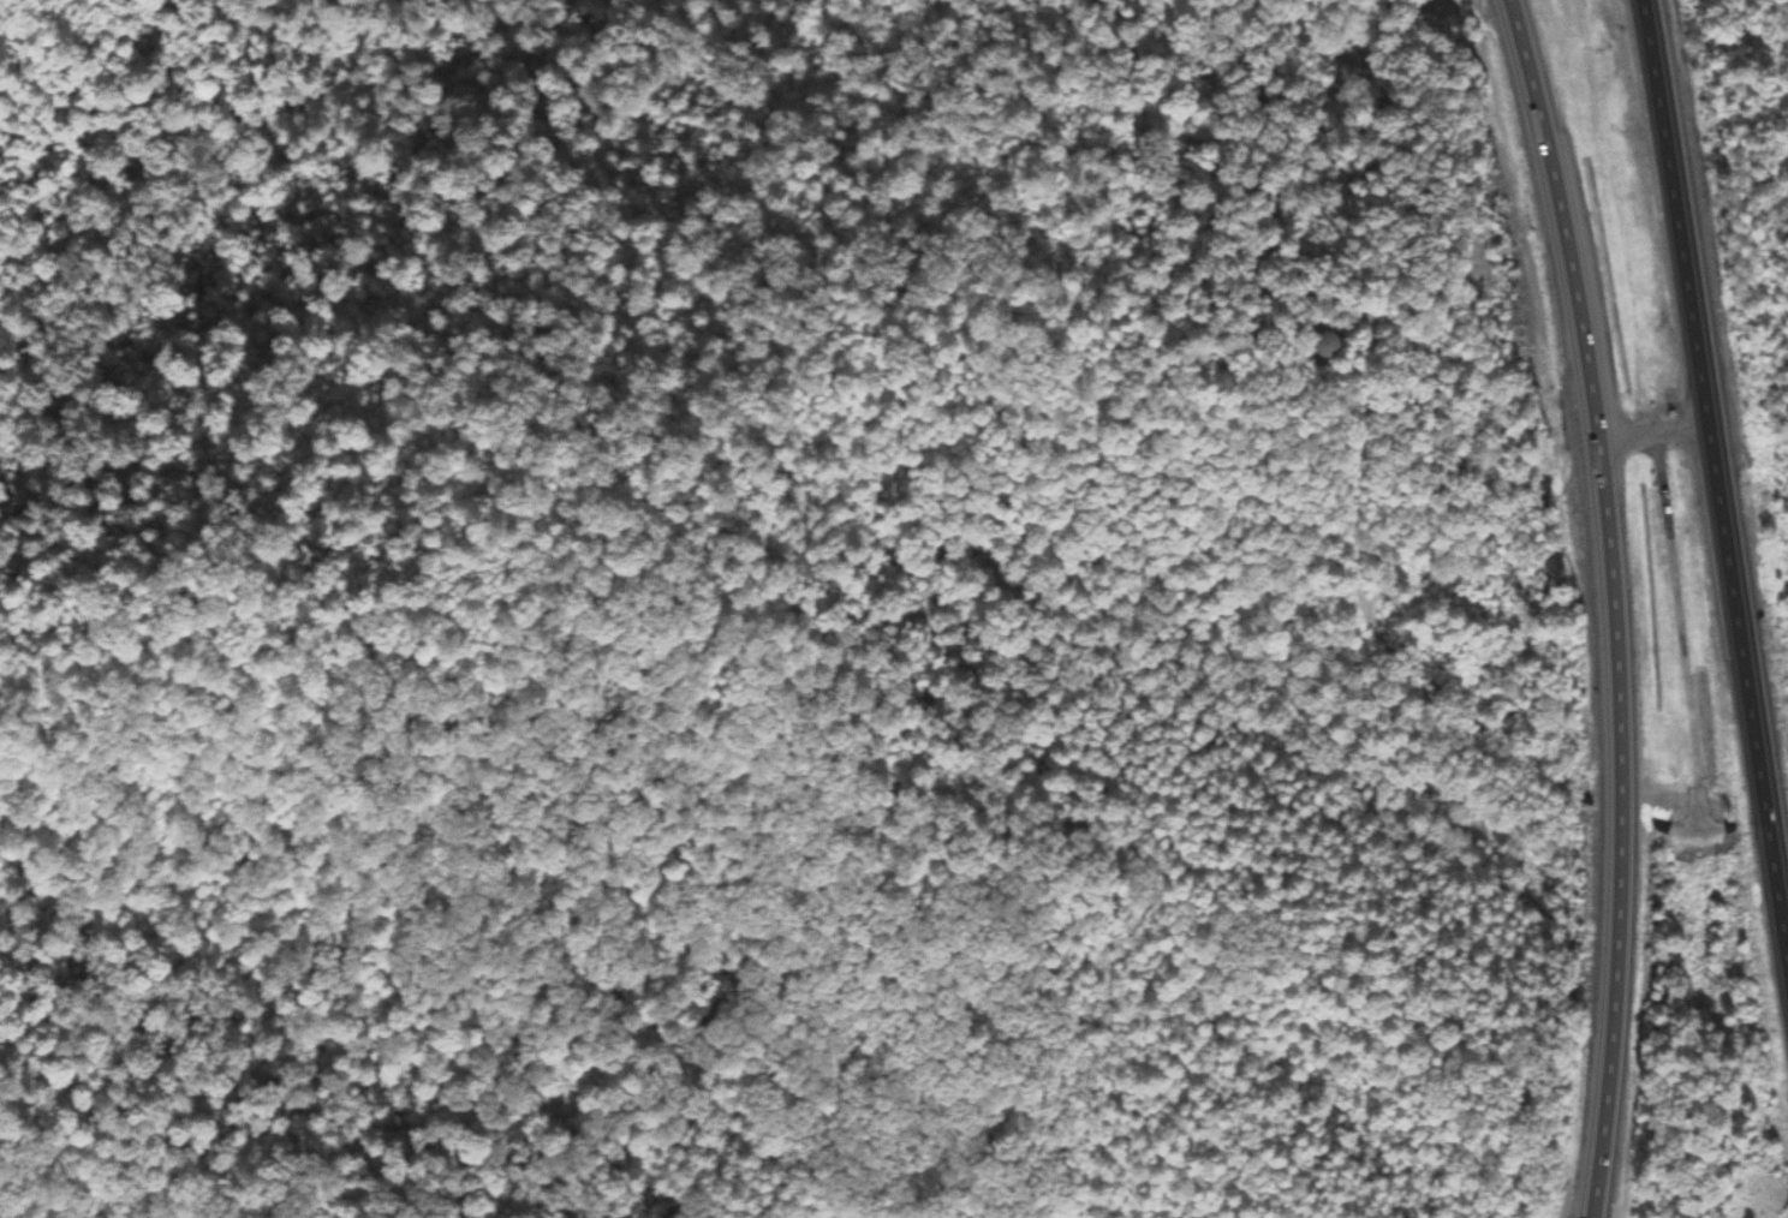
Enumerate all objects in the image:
building: (1319, 347)
road: (1655, 434)
road: (1720, 478)
road: (1613, 604)
road: (1682, 631)
road: (1703, 829)

